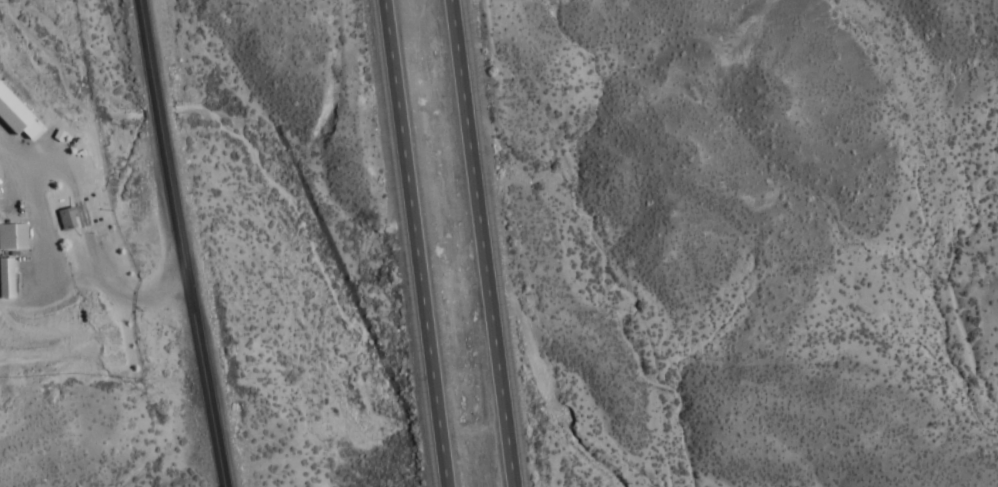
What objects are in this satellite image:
building: (67, 222)
building: (14, 240)
landfill: (42, 241)
road: (183, 243)
road: (412, 243)
road: (482, 243)
building: (7, 282)

